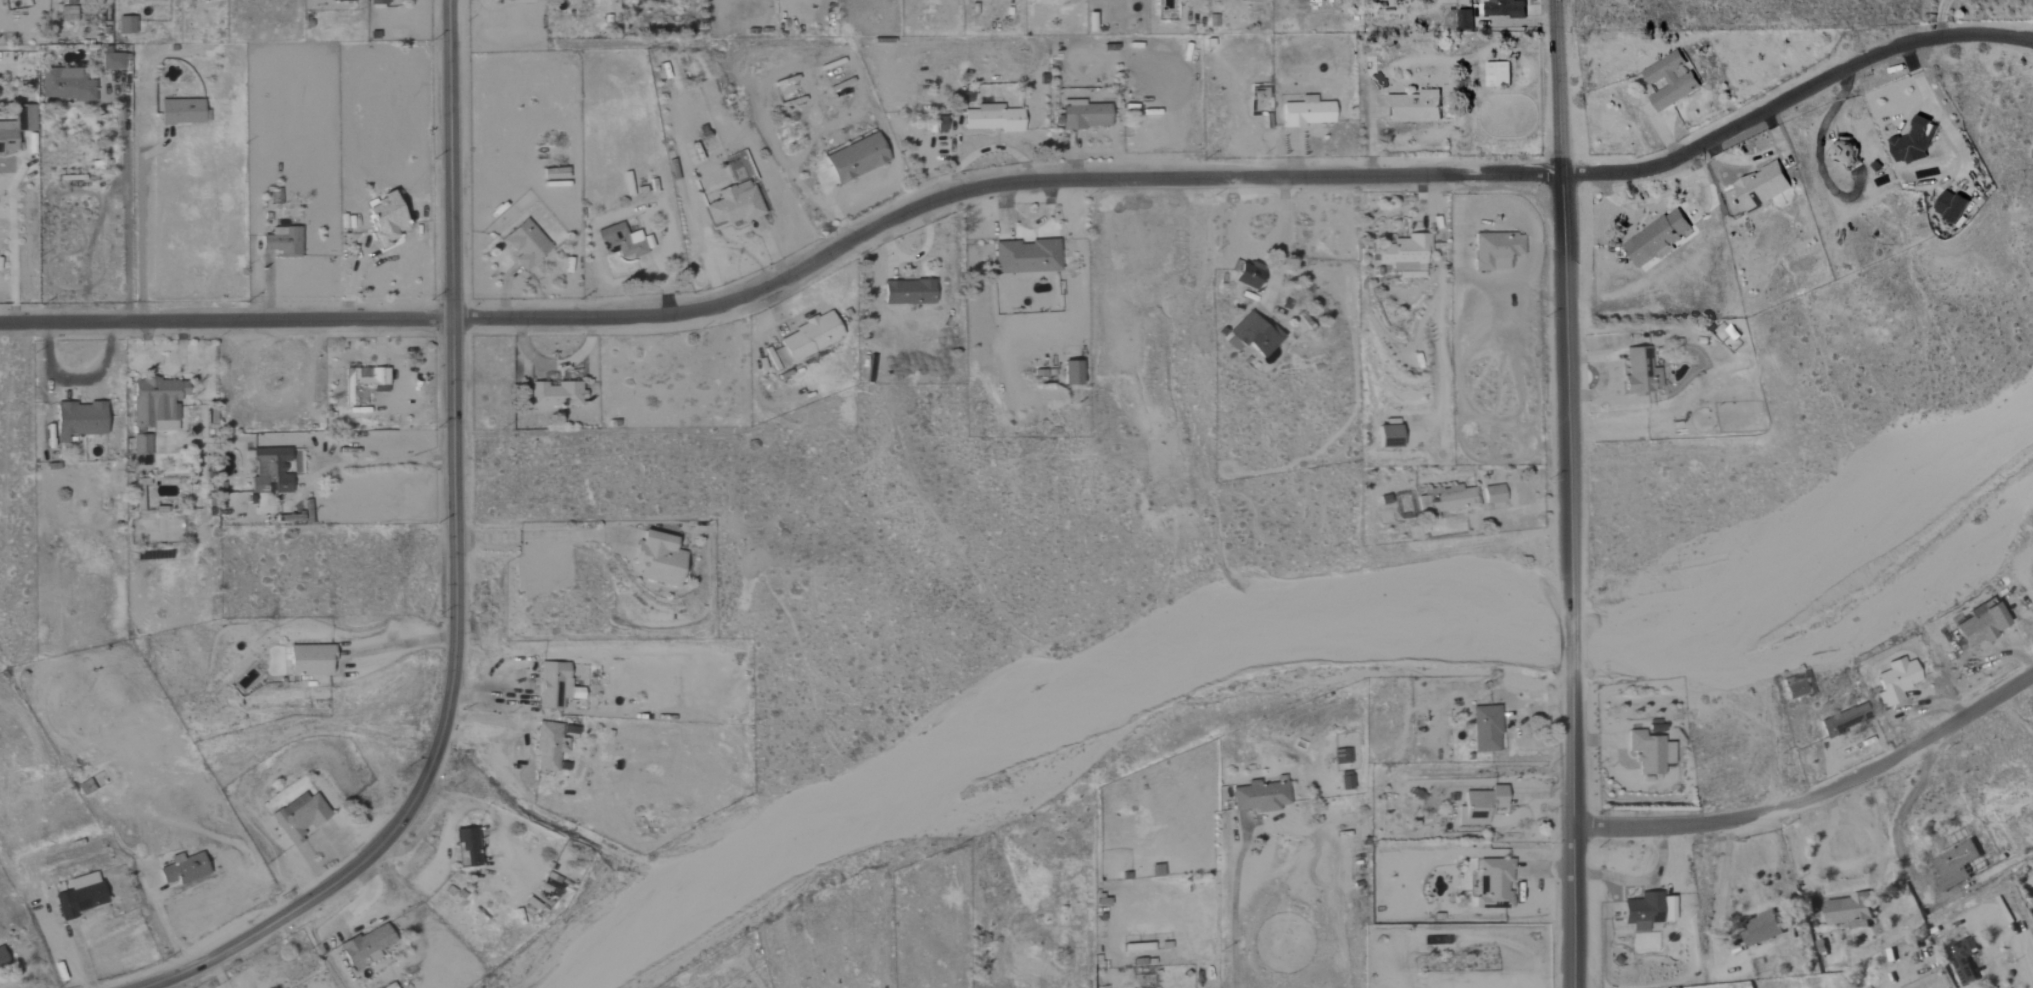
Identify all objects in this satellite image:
building: (379, 2)
building: (1504, 9)
building: (67, 14)
road: (1938, 17)
building: (1465, 20)
building: (127, 26)
building: (111, 61)
building: (1497, 74)
building: (1670, 80)
building: (65, 84)
building: (1414, 106)
building: (182, 111)
building: (1307, 113)
building: (1083, 115)
building: (993, 118)
building: (24, 121)
building: (7, 137)
building: (1913, 144)
building: (1842, 150)
road: (1817, 152)
building: (856, 157)
road: (1018, 183)
building: (1761, 185)
building: (735, 204)
building: (1952, 206)
road: (123, 211)
building: (384, 218)
building: (1658, 237)
building: (282, 241)
building: (624, 241)
building: (525, 244)
road: (1278, 244)
building: (1496, 249)
building: (1404, 254)
building: (1025, 255)
road: (11, 269)
building: (1248, 274)
building: (908, 290)
building: (1250, 333)
building: (805, 339)
building: (1640, 371)
building: (1071, 373)
road: (77, 379)
building: (362, 384)
building: (555, 394)
building: (156, 403)
building: (79, 419)
building: (1389, 436)
building: (141, 444)
road: (451, 444)
building: (142, 461)
road: (373, 461)
building: (270, 471)
road: (1569, 493)
building: (1494, 494)
building: (1444, 500)
road: (1522, 511)
road: (541, 535)
building: (658, 559)
building: (2032, 575)
building: (1979, 625)
road: (404, 645)
building: (310, 660)
building: (1896, 681)
building: (553, 684)
building: (1799, 686)
building: (1843, 719)
building: (1486, 729)
building: (551, 745)
building: (1649, 751)
building: (1341, 757)
building: (1345, 781)
building: (1260, 797)
road: (1816, 797)
building: (1482, 804)
road: (1899, 814)
building: (298, 817)
building: (466, 848)
road: (1820, 850)
building: (1957, 866)
building: (183, 869)
road: (1638, 881)
building: (1494, 884)
road: (1721, 892)
building: (80, 895)
road: (1232, 905)
building: (1669, 909)
building: (1643, 911)
building: (1850, 911)
road: (164, 924)
building: (1762, 928)
road: (258, 934)
building: (366, 945)
building: (2, 958)
building: (1962, 962)

